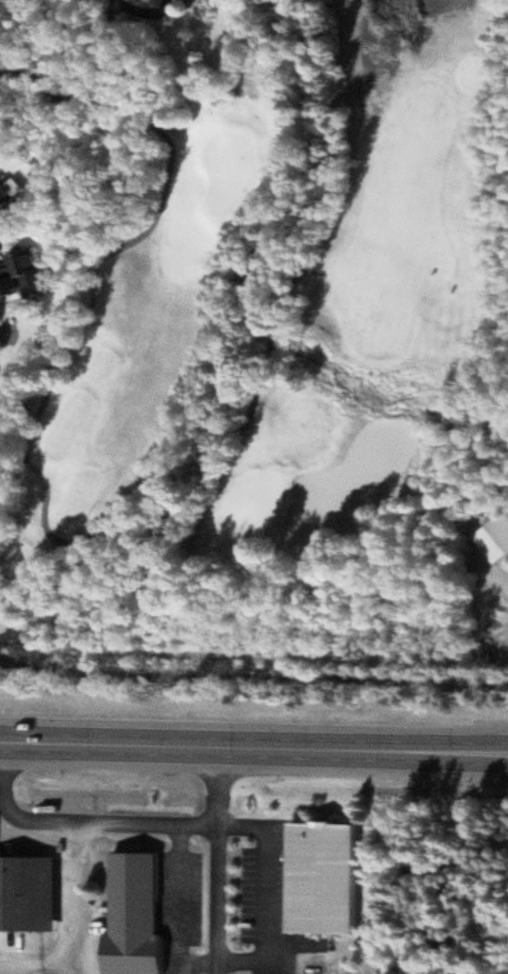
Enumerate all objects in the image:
road: (145, 9)
road: (491, 88)
park: (231, 170)
building: (6, 194)
building: (24, 276)
road: (74, 333)
park: (287, 343)
park: (254, 498)
building: (496, 540)
road: (253, 677)
road: (253, 747)
road: (270, 840)
road: (217, 860)
building: (327, 878)
building: (29, 894)
building: (138, 916)

